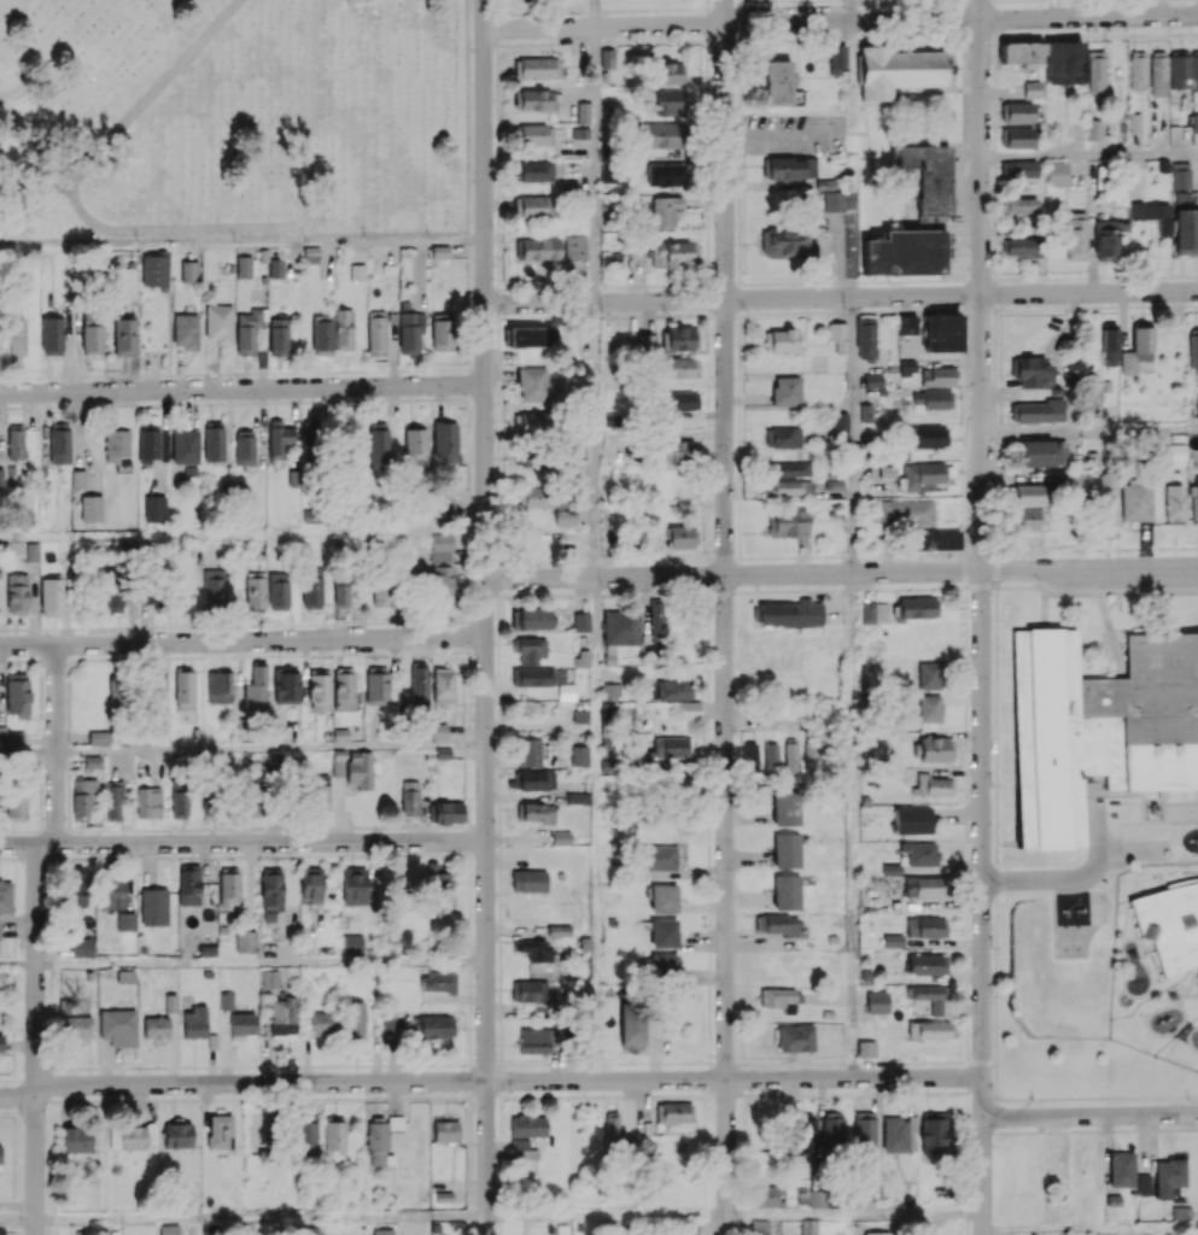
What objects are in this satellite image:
road: (852, 11)
road: (596, 13)
road: (840, 22)
building: (1022, 52)
building: (607, 58)
building: (837, 58)
building: (1063, 62)
building: (536, 68)
building: (1177, 69)
building: (1194, 69)
building: (896, 70)
building: (1138, 70)
building: (1095, 71)
building: (668, 72)
building: (1157, 74)
building: (776, 82)
road: (853, 84)
building: (534, 99)
building: (670, 101)
building: (1018, 111)
building: (583, 112)
road: (133, 115)
park: (232, 117)
building: (1093, 129)
road: (777, 133)
building: (536, 134)
building: (662, 134)
building: (1017, 137)
road: (1088, 154)
road: (598, 164)
building: (1019, 169)
building: (608, 170)
building: (536, 171)
building: (664, 174)
building: (1057, 174)
building: (1180, 175)
building: (924, 180)
building: (840, 200)
building: (1019, 205)
building: (534, 206)
building: (665, 210)
building: (1153, 215)
road: (277, 228)
building: (1185, 229)
building: (1076, 235)
building: (1108, 238)
road: (242, 242)
building: (787, 244)
building: (575, 247)
building: (1024, 247)
building: (538, 252)
building: (673, 253)
building: (904, 253)
building: (242, 265)
building: (275, 268)
building: (154, 269)
building: (188, 271)
building: (357, 271)
road: (841, 297)
building: (218, 323)
building: (392, 323)
building: (906, 324)
building: (343, 329)
building: (185, 330)
building: (247, 330)
building: (410, 332)
building: (941, 332)
building: (92, 333)
building: (376, 333)
building: (321, 334)
building: (440, 334)
building: (837, 334)
building: (52, 335)
building: (277, 335)
building: (532, 335)
building: (17, 336)
building: (124, 336)
building: (678, 338)
building: (865, 338)
building: (781, 340)
building: (648, 344)
building: (1109, 345)
building: (1136, 349)
building: (1193, 351)
building: (682, 367)
building: (1033, 373)
building: (936, 376)
building: (532, 384)
road: (242, 388)
building: (785, 391)
building: (931, 399)
building: (677, 400)
building: (1036, 410)
building: (530, 423)
road: (1089, 429)
building: (280, 437)
building: (788, 437)
building: (927, 437)
building: (310, 439)
building: (214, 440)
road: (601, 440)
building: (16, 441)
building: (444, 441)
building: (59, 443)
building: (148, 443)
building: (116, 444)
building: (185, 446)
building: (244, 446)
building: (378, 446)
building: (414, 447)
building: (677, 450)
building: (1042, 452)
building: (790, 468)
building: (922, 476)
building: (790, 487)
building: (1027, 494)
building: (1108, 498)
building: (1194, 501)
building: (1134, 502)
building: (551, 503)
building: (1174, 504)
road: (854, 507)
building: (92, 508)
building: (154, 508)
building: (444, 509)
building: (907, 511)
building: (311, 516)
building: (1025, 519)
building: (787, 523)
road: (242, 534)
building: (680, 537)
building: (933, 539)
building: (442, 568)
road: (841, 575)
building: (214, 587)
building: (311, 587)
building: (255, 590)
building: (277, 591)
building: (17, 593)
building: (147, 593)
building: (382, 593)
building: (51, 596)
building: (340, 596)
building: (112, 597)
building: (916, 608)
building: (872, 611)
building: (790, 613)
road: (981, 616)
road: (485, 617)
road: (725, 617)
building: (534, 619)
building: (580, 621)
building: (656, 622)
building: (621, 627)
road: (242, 640)
building: (530, 649)
building: (929, 674)
building: (542, 679)
building: (256, 684)
building: (419, 685)
building: (443, 685)
building: (376, 686)
building: (218, 687)
building: (286, 687)
building: (183, 689)
building: (319, 690)
building: (343, 690)
building: (673, 690)
building: (117, 691)
building: (610, 691)
building: (157, 693)
building: (17, 695)
building: (929, 708)
building: (689, 709)
road: (790, 719)
building: (438, 731)
building: (1, 734)
building: (98, 737)
road: (55, 744)
building: (671, 747)
road: (270, 749)
building: (935, 749)
road: (28, 751)
building: (528, 751)
building: (579, 755)
building: (771, 756)
building: (811, 756)
building: (750, 757)
building: (791, 757)
building: (92, 761)
building: (358, 769)
building: (532, 779)
building: (930, 785)
building: (320, 796)
building: (83, 797)
building: (578, 797)
building: (179, 798)
building: (410, 798)
building: (113, 801)
building: (148, 802)
building: (16, 806)
building: (785, 807)
building: (537, 812)
building: (446, 813)
building: (912, 820)
road: (600, 830)
road: (242, 843)
building: (785, 850)
building: (919, 853)
building: (661, 858)
building: (892, 870)
road: (1066, 878)
building: (528, 880)
building: (188, 884)
building: (310, 885)
building: (353, 885)
building: (74, 886)
building: (923, 886)
building: (229, 888)
building: (437, 889)
building: (785, 891)
building: (111, 892)
building: (270, 895)
building: (5, 896)
building: (662, 899)
road: (854, 899)
building: (153, 906)
building: (125, 920)
building: (778, 924)
building: (925, 926)
building: (559, 930)
building: (662, 933)
building: (245, 942)
building: (352, 944)
building: (81, 947)
road: (262, 962)
road: (18, 964)
building: (927, 964)
building: (269, 978)
building: (438, 982)
building: (530, 990)
building: (927, 997)
building: (781, 999)
building: (226, 1000)
building: (876, 1002)
building: (170, 1003)
building: (284, 1015)
building: (353, 1019)
building: (194, 1022)
building: (323, 1023)
building: (72, 1024)
building: (242, 1024)
building: (388, 1025)
building: (436, 1025)
building: (631, 1025)
building: (117, 1026)
building: (156, 1026)
building: (653, 1026)
building: (928, 1030)
building: (795, 1037)
road: (36, 1040)
building: (538, 1040)
building: (1, 1043)
building: (865, 1048)
road: (491, 1081)
building: (673, 1112)
road: (1091, 1114)
building: (527, 1125)
building: (644, 1125)
building: (612, 1128)
building: (864, 1128)
building: (220, 1130)
building: (445, 1130)
building: (261, 1131)
building: (832, 1131)
building: (177, 1134)
building: (895, 1134)
building: (305, 1136)
building: (334, 1136)
building: (805, 1136)
building: (127, 1137)
building: (934, 1137)
building: (76, 1139)
building: (521, 1148)
building: (0, 1153)
building: (762, 1164)
building: (1023, 1167)
building: (1121, 1169)
building: (1168, 1176)
building: (1143, 1184)
building: (765, 1195)
building: (818, 1198)
building: (1181, 1212)
road: (491, 1213)
building: (759, 1227)
building: (808, 1227)
building: (169, 1229)
building: (1, 1230)
building: (308, 1230)
road: (1091, 1230)
building: (382, 1231)
building: (877, 1233)

